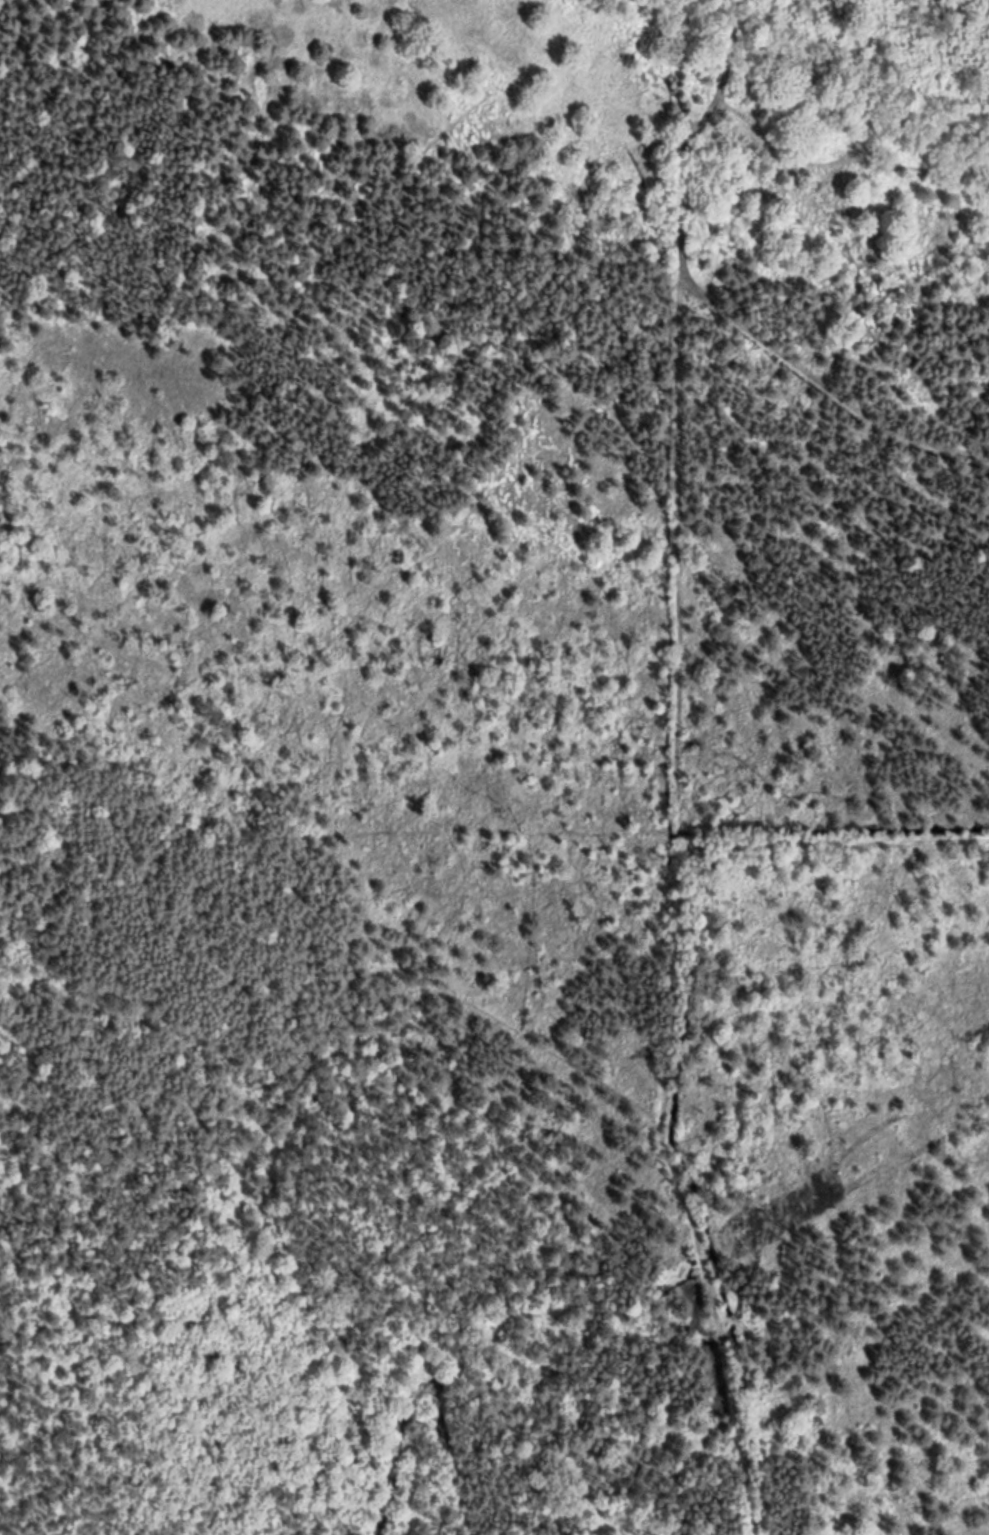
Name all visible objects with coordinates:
road: (716, 282)
road: (668, 932)

